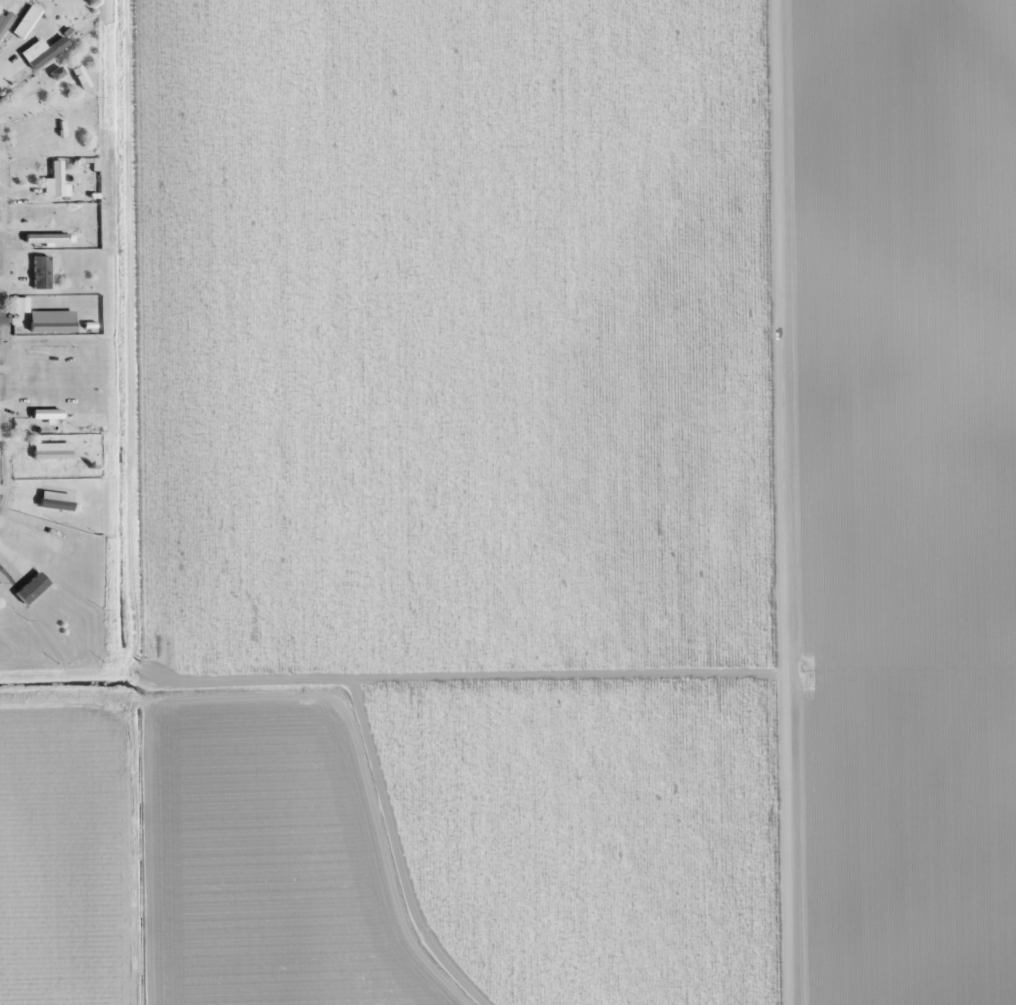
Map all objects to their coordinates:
building: (48, 54)
building: (54, 132)
building: (46, 239)
building: (52, 454)
road: (789, 502)
building: (55, 504)
building: (5, 608)

